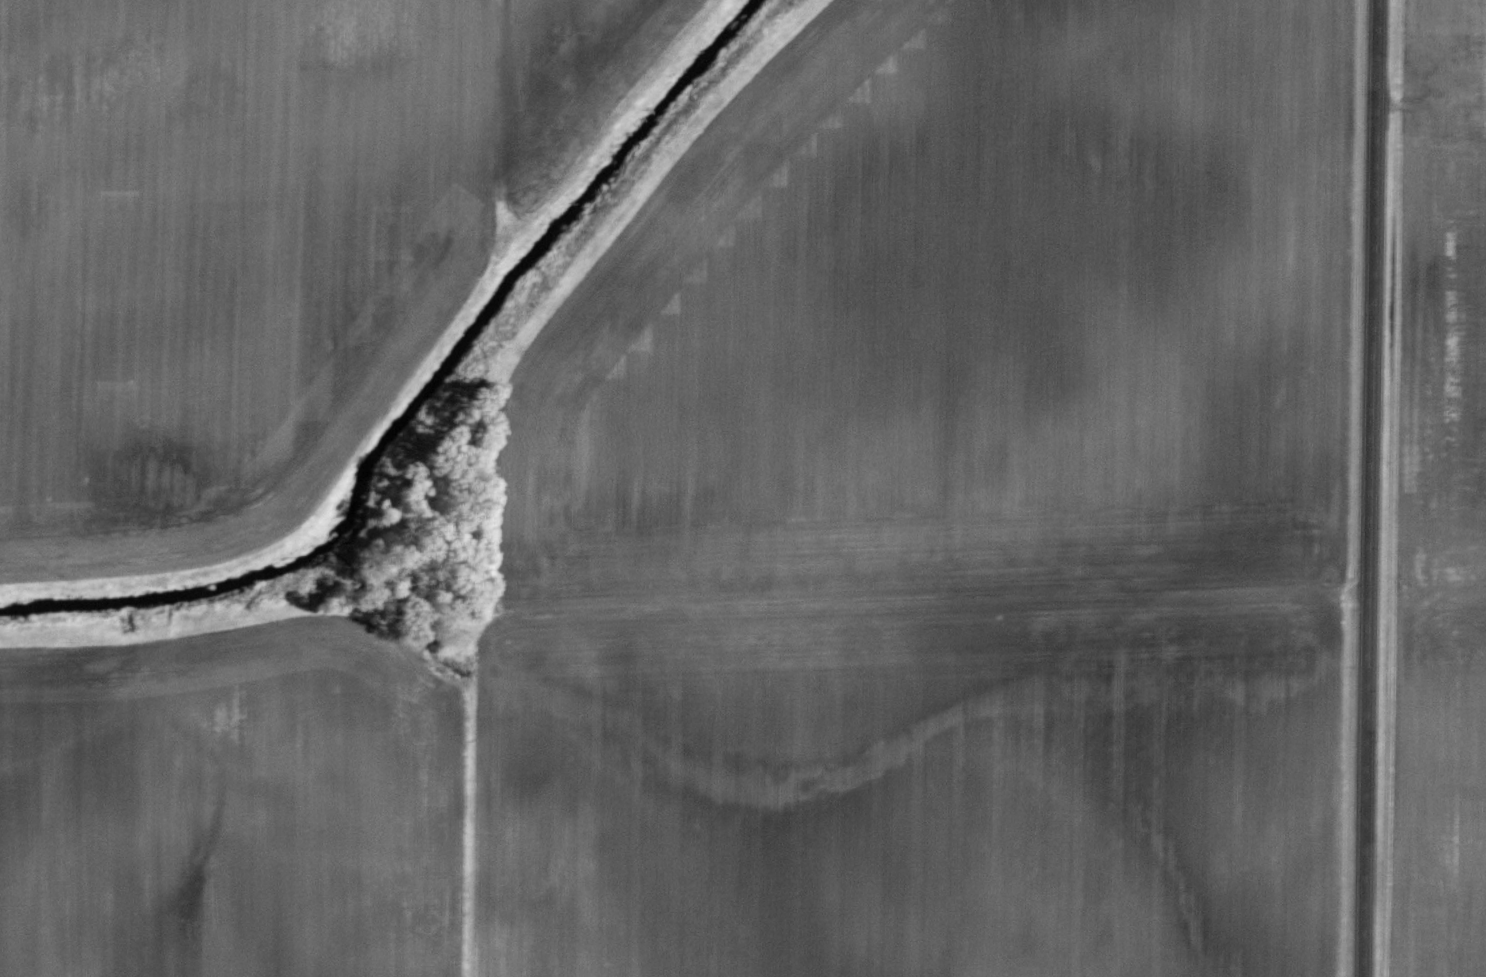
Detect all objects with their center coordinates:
road: (1379, 488)

